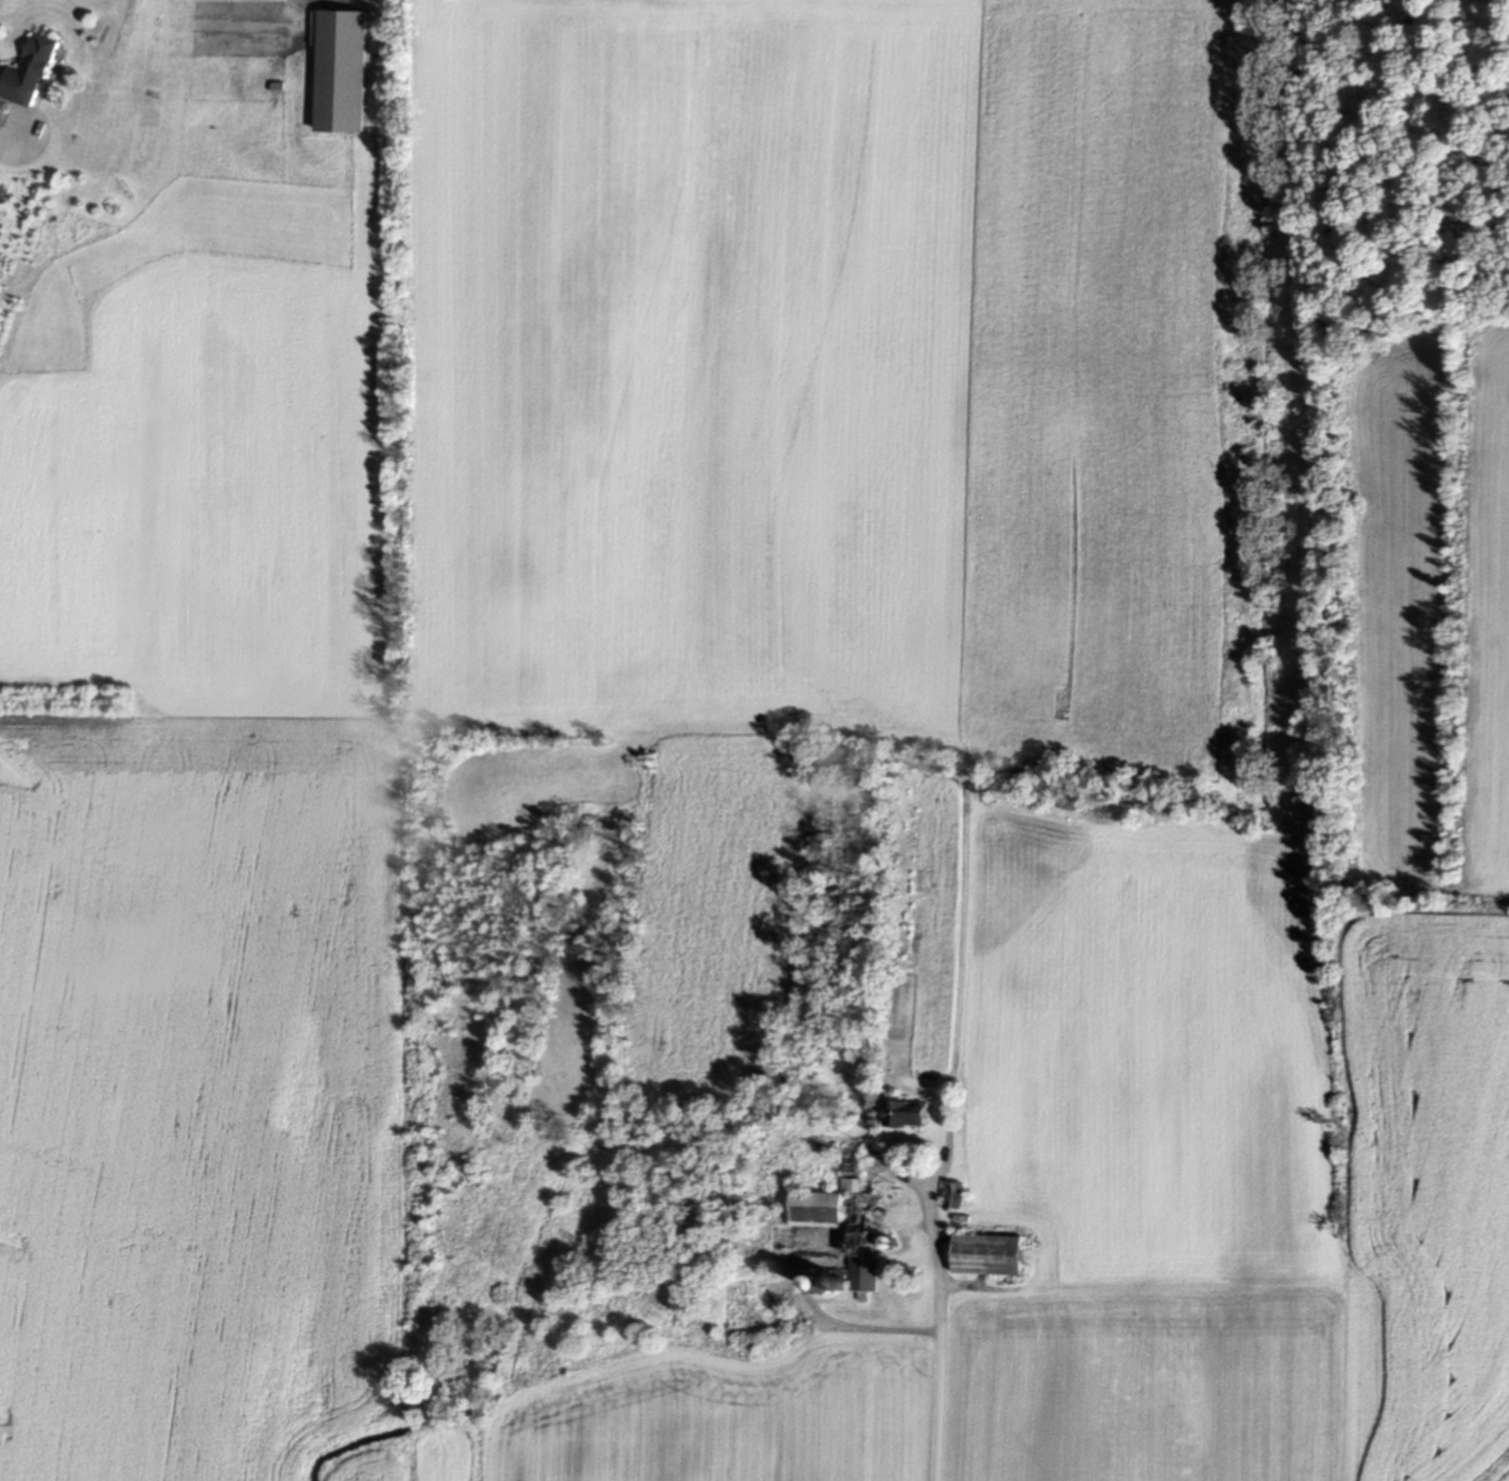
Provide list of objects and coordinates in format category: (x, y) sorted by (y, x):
building: (339, 73)
building: (26, 74)
road: (21, 159)
building: (903, 1115)
building: (950, 1196)
building: (813, 1210)
building: (984, 1256)
road: (867, 1329)
road: (941, 1335)

